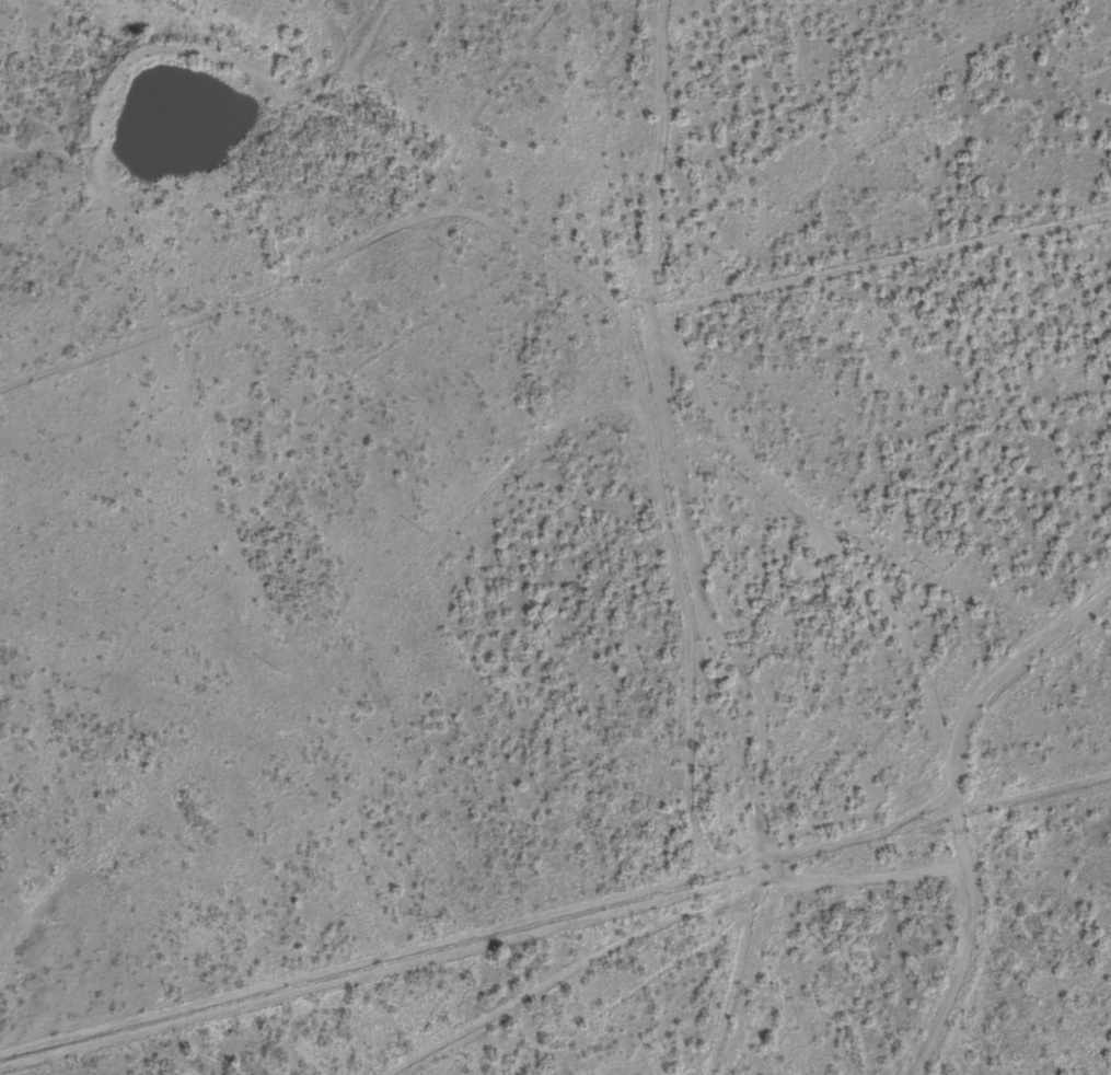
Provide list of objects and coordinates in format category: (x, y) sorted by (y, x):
road: (618, 499)
road: (844, 530)
road: (1033, 764)
road: (694, 958)

